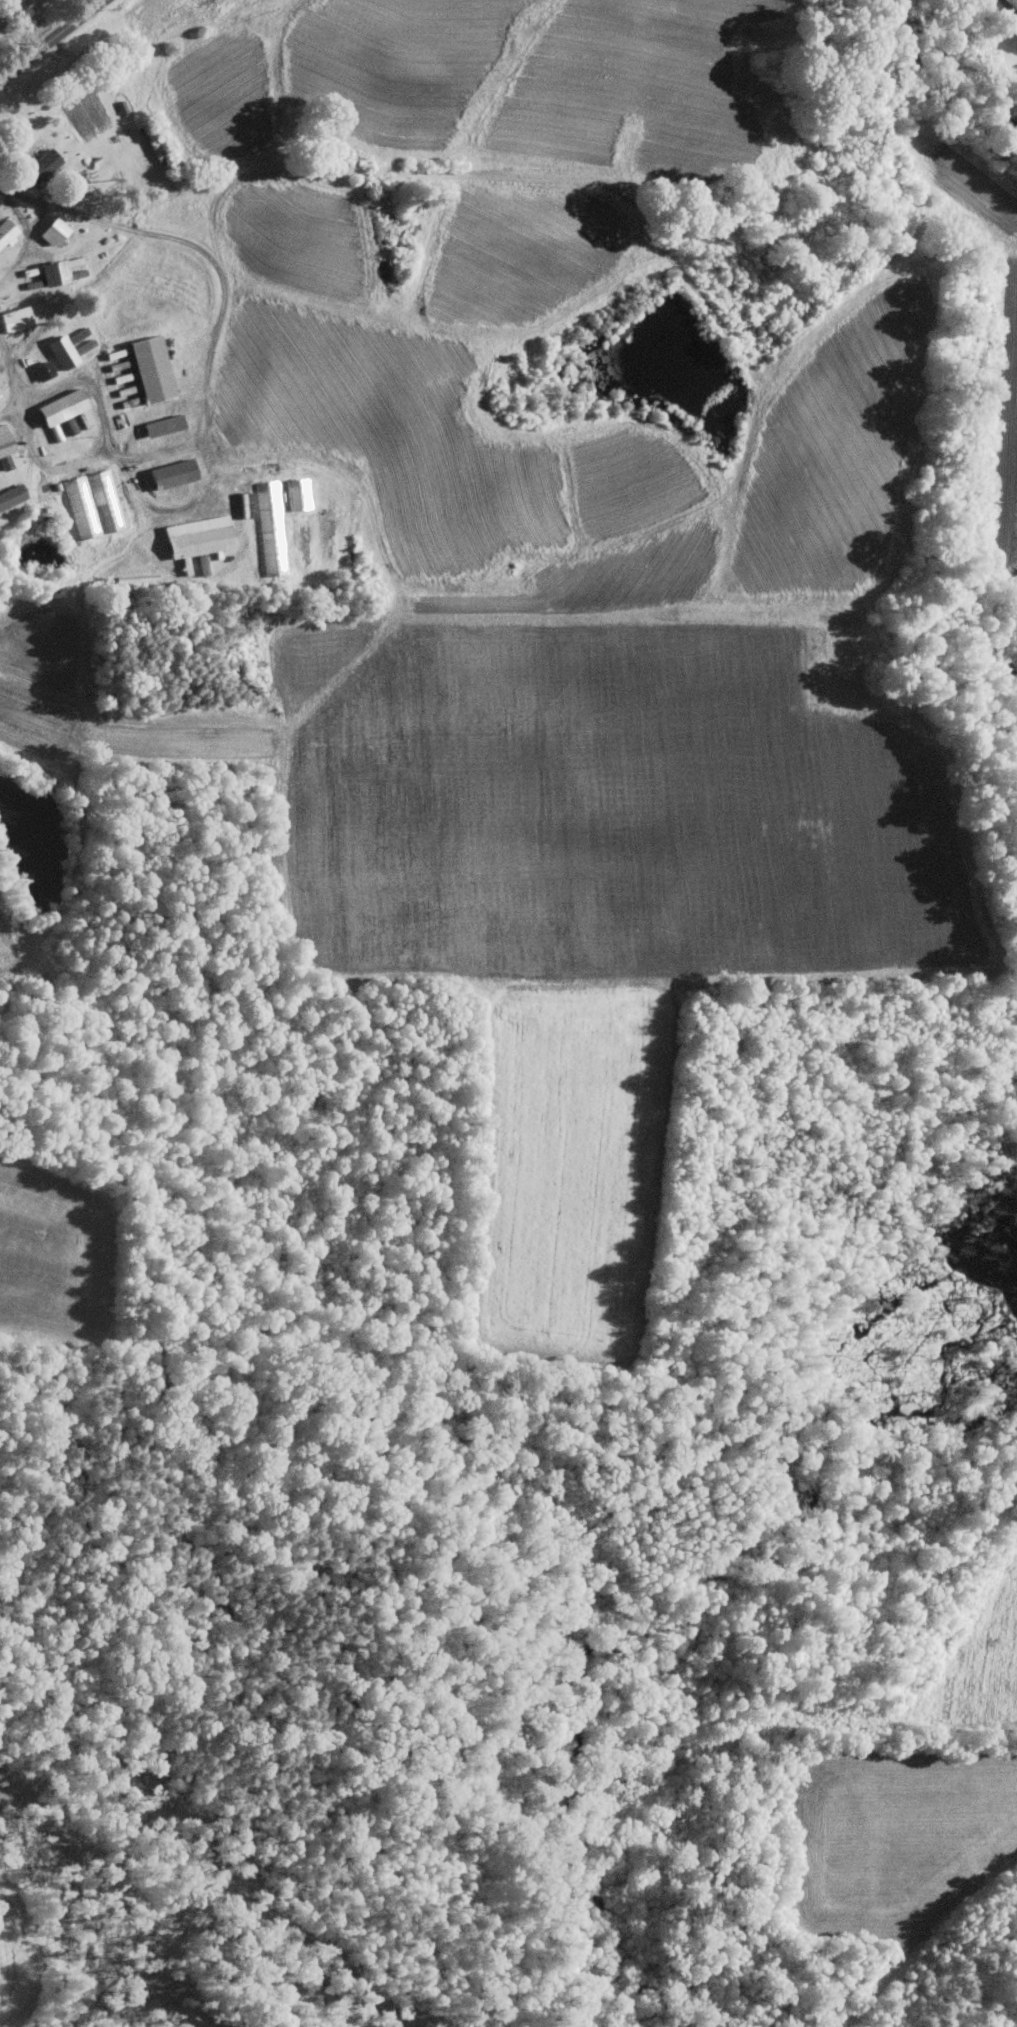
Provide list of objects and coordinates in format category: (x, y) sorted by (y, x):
road: (1008, 7)
road: (51, 40)
building: (39, 166)
road: (38, 204)
building: (52, 230)
building: (7, 232)
road: (26, 232)
building: (52, 271)
building: (15, 318)
building: (77, 335)
building: (61, 351)
building: (150, 368)
building: (42, 370)
building: (0, 395)
road: (205, 406)
building: (59, 409)
building: (163, 424)
building: (5, 441)
building: (171, 473)
building: (12, 495)
building: (271, 527)
building: (198, 536)

